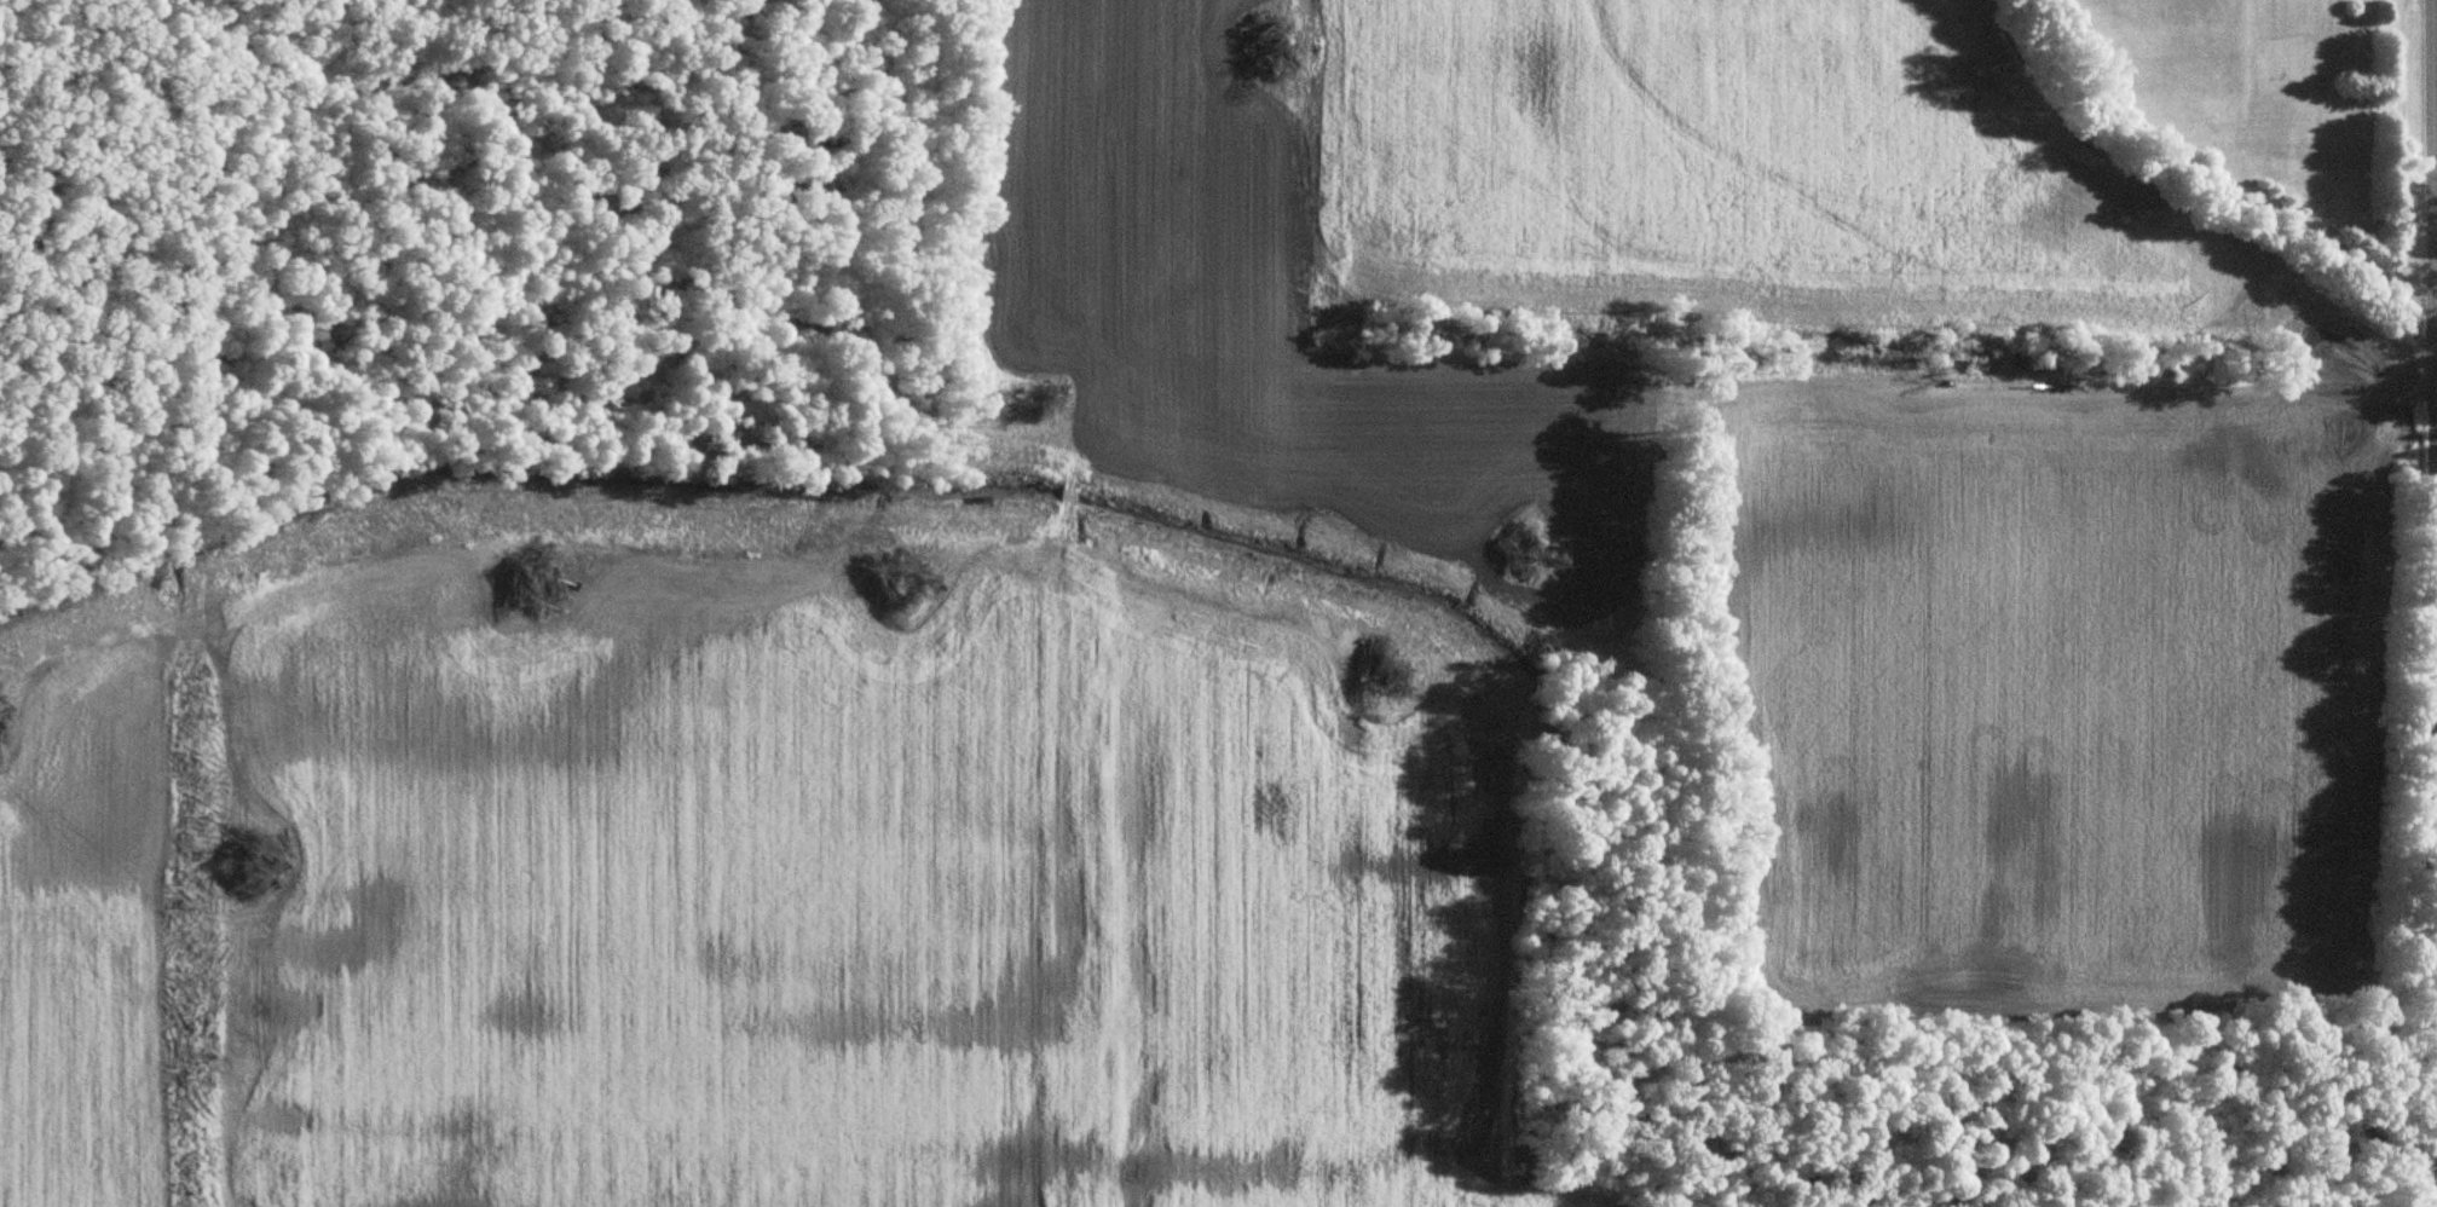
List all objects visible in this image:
road: (2435, 300)
road: (2430, 602)
road: (2432, 776)

